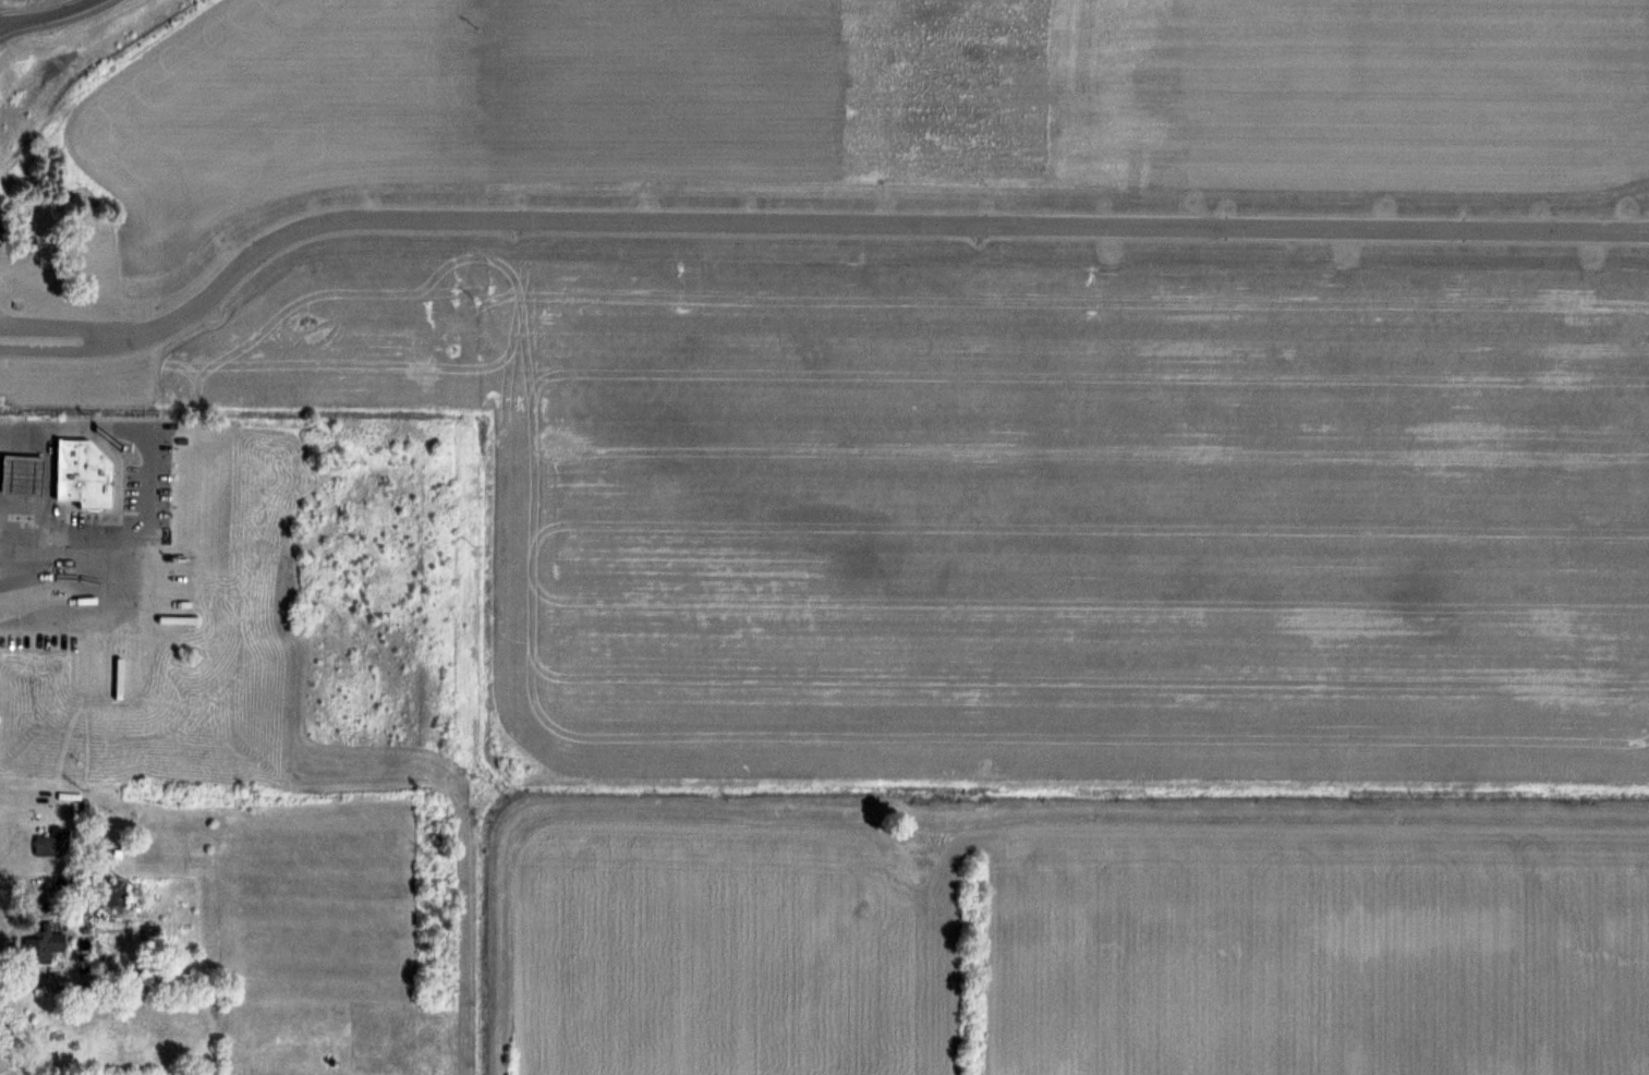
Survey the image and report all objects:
road: (45, 14)
crop: (872, 94)
road: (874, 221)
road: (69, 327)
road: (70, 350)
building: (82, 472)
building: (20, 473)
road: (148, 481)
crop: (1024, 511)
building: (49, 844)
crop: (1086, 951)

